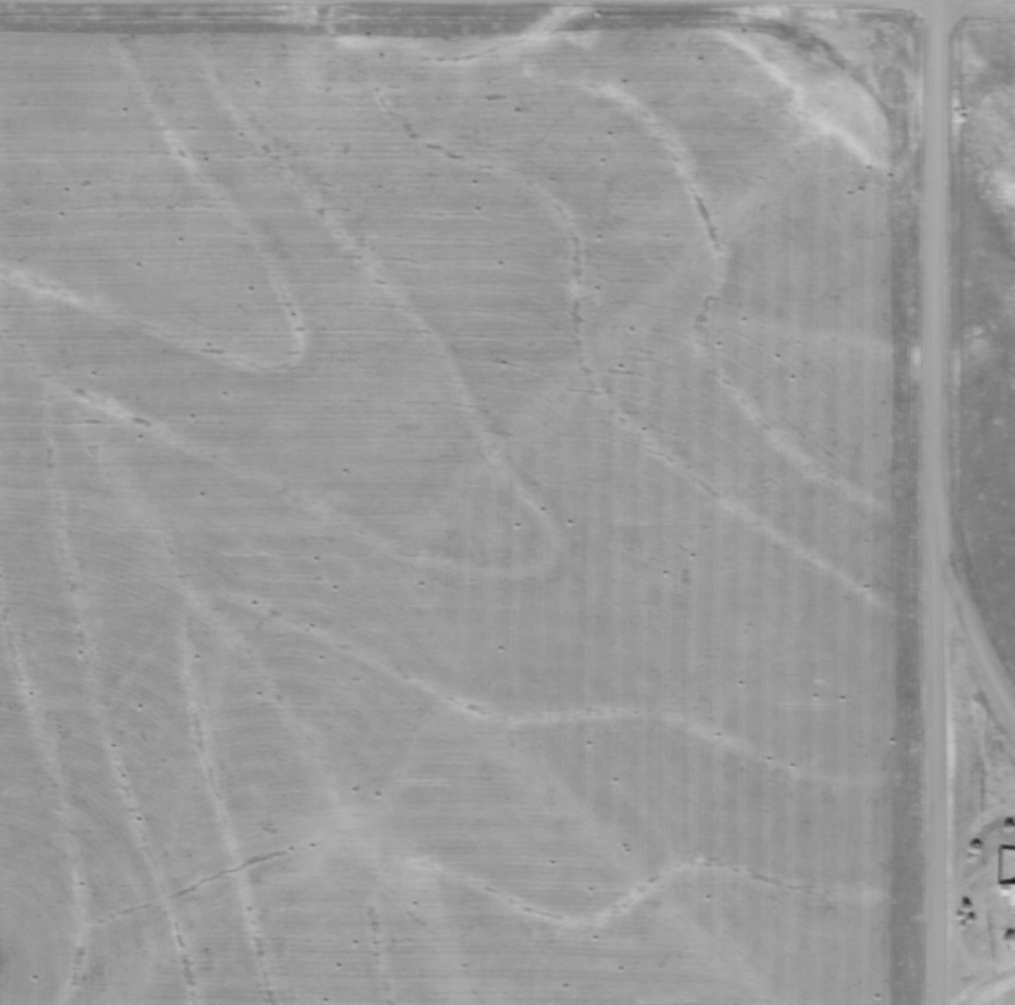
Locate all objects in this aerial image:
road: (936, 502)
road: (967, 627)
building: (1009, 893)
road: (981, 980)

